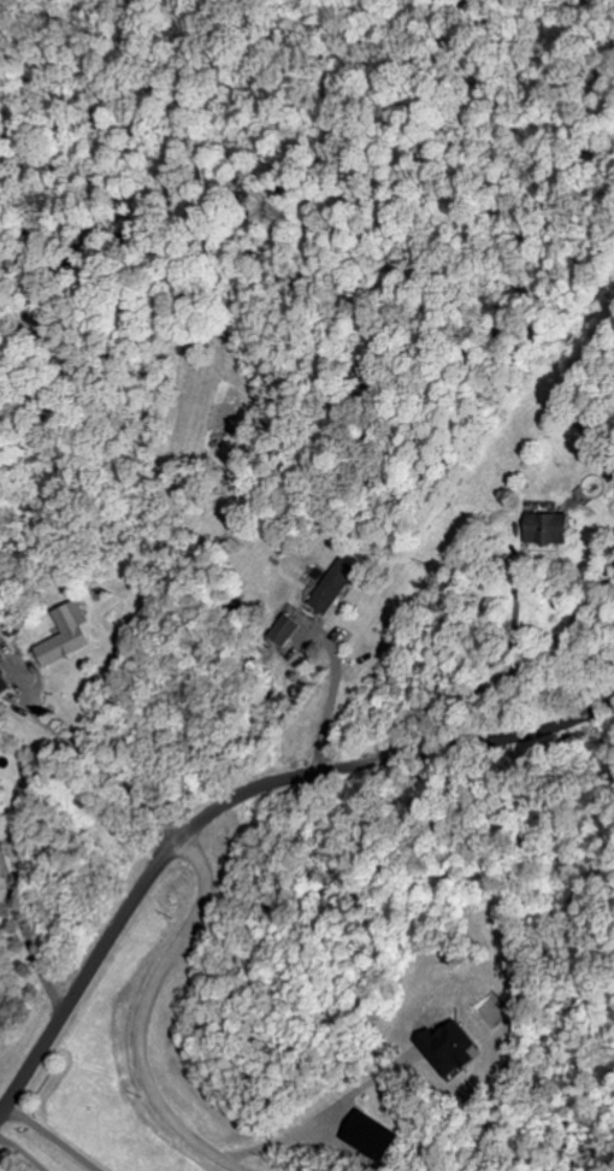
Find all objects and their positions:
building: (338, 587)
road: (514, 616)
road: (577, 634)
building: (71, 635)
building: (5, 684)
road: (333, 694)
road: (435, 706)
road: (118, 776)
road: (231, 801)
road: (29, 938)
road: (144, 1017)
building: (448, 1052)
road: (327, 1114)
road: (53, 1137)
building: (376, 1137)

